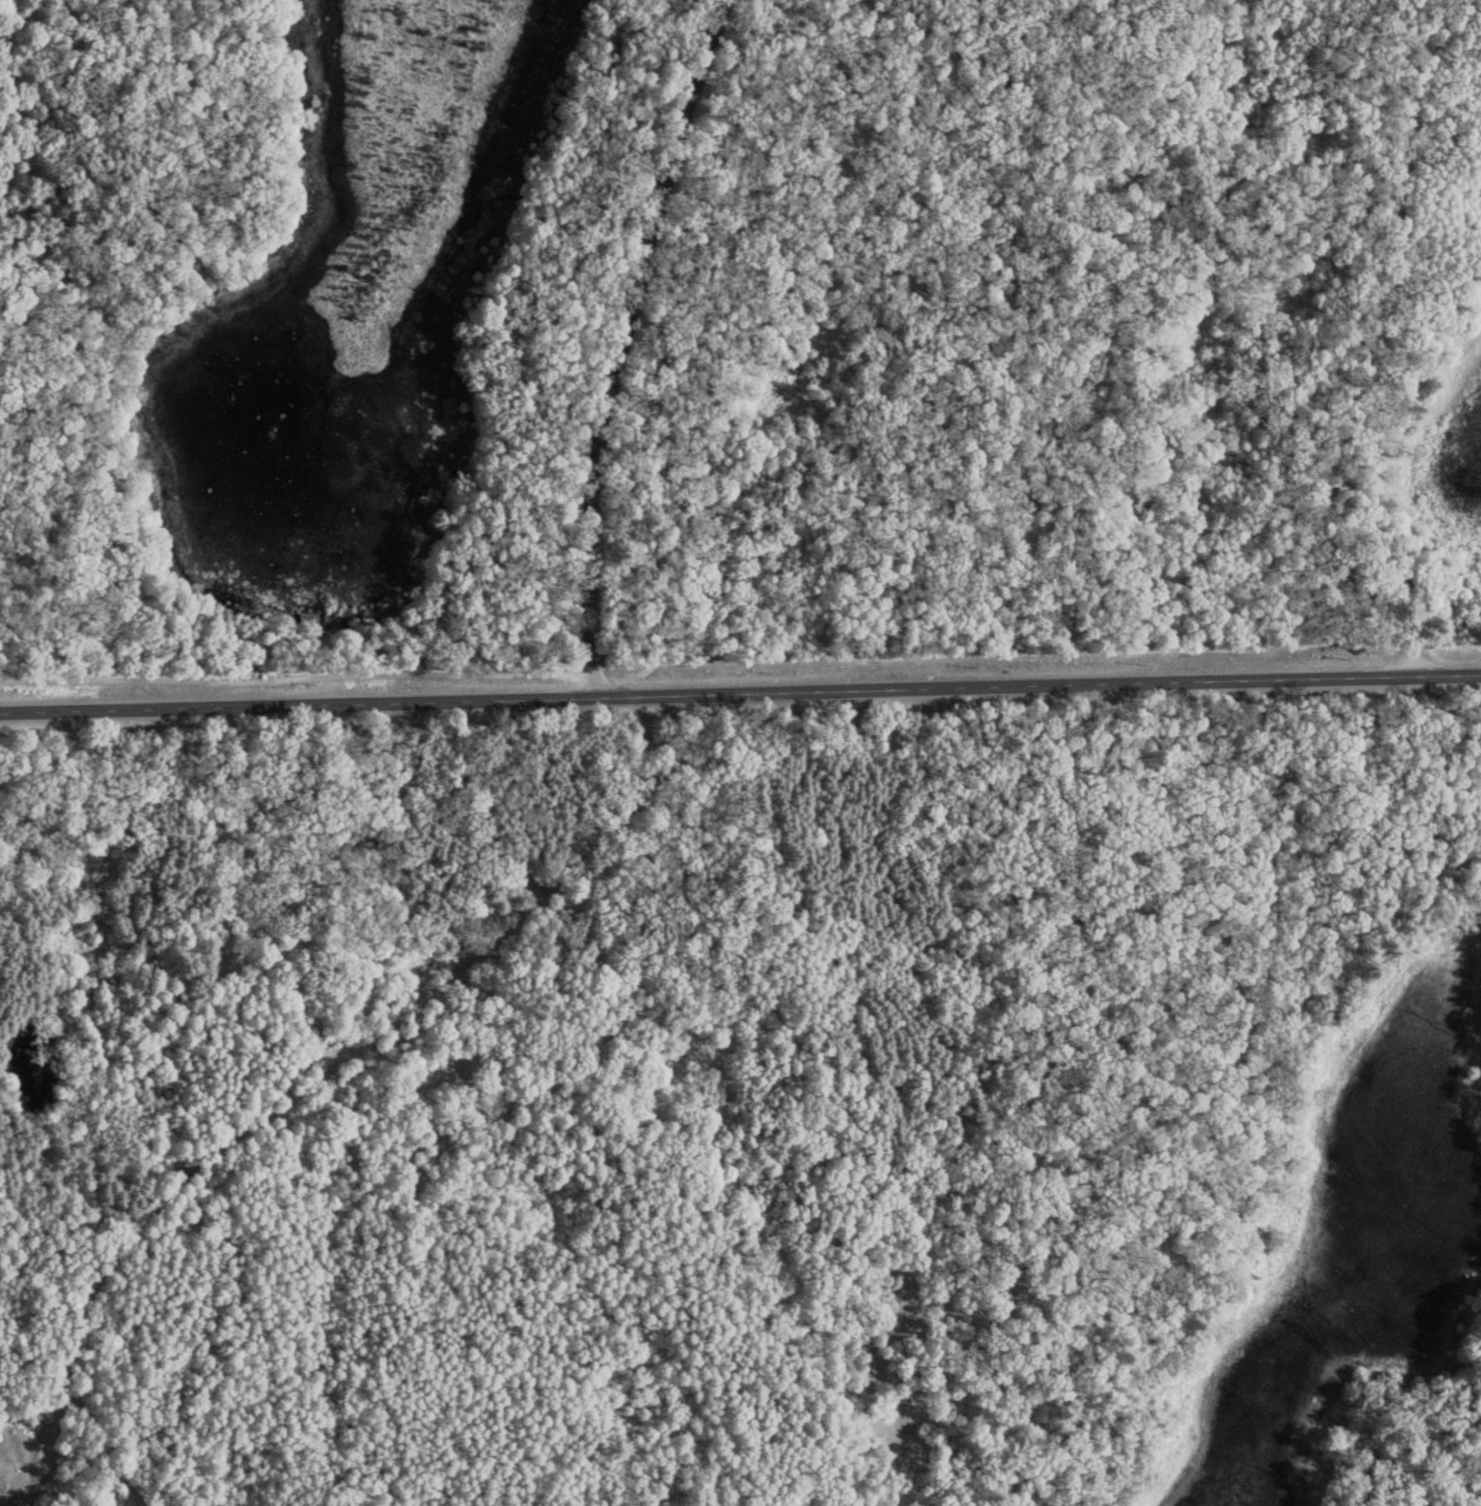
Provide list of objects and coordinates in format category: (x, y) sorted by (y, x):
road: (556, 320)
road: (618, 342)
road: (1347, 349)
road: (740, 692)
road: (1013, 941)
road: (319, 1080)
road: (98, 1440)

